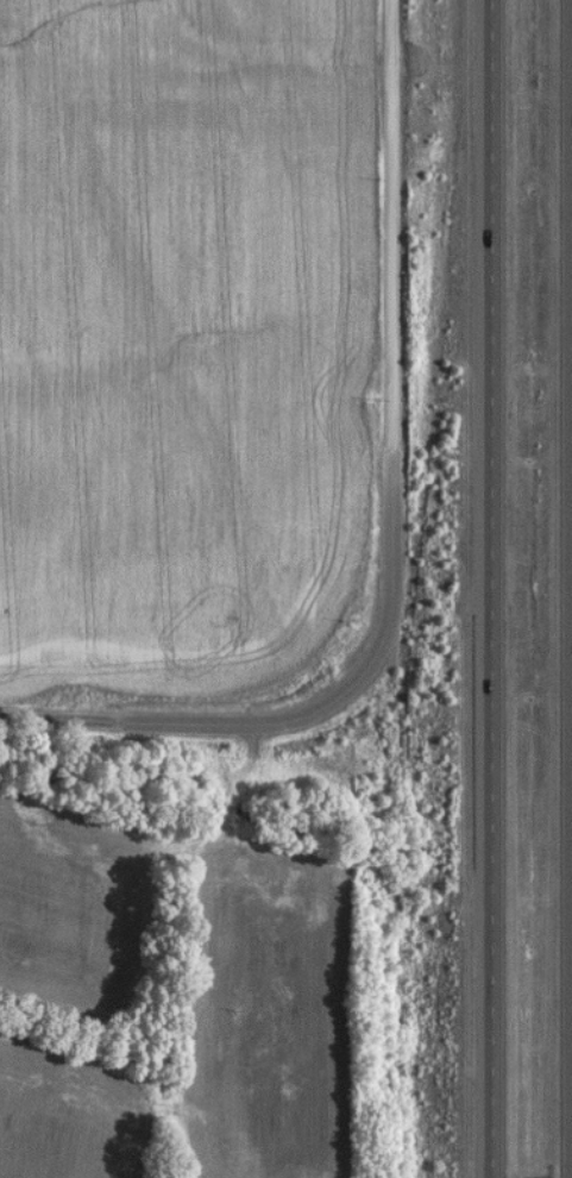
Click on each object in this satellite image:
road: (386, 374)
road: (566, 588)
road: (484, 589)
road: (151, 723)

